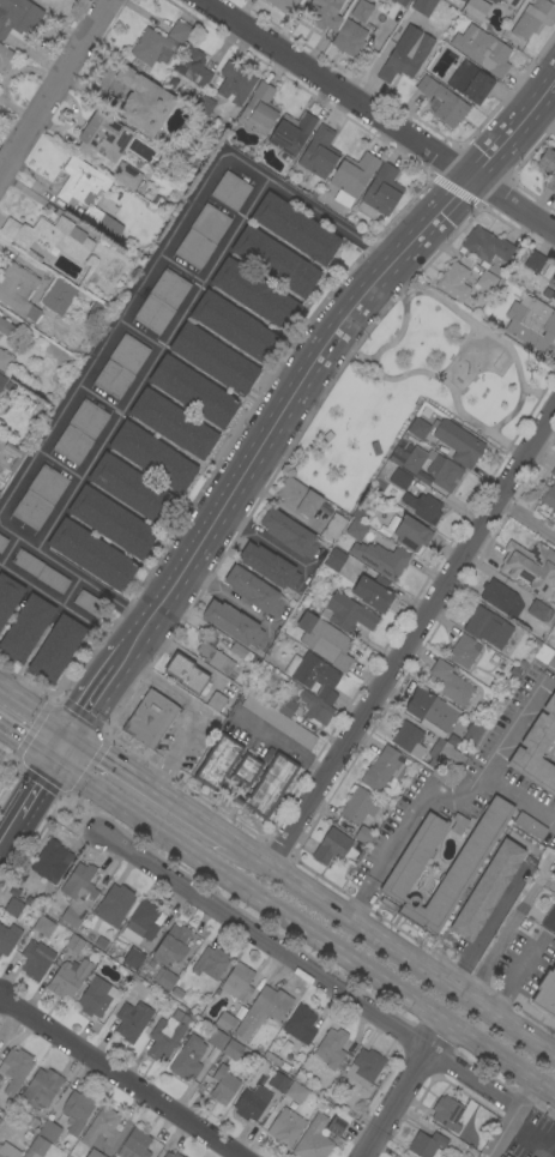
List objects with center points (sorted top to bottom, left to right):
building: (554, 1)
building: (402, 2)
building: (457, 2)
building: (513, 2)
building: (284, 5)
building: (423, 6)
building: (541, 6)
building: (361, 10)
building: (475, 10)
building: (325, 12)
building: (18, 17)
building: (524, 25)
building: (349, 38)
building: (159, 43)
building: (482, 49)
building: (405, 56)
building: (5, 58)
building: (193, 67)
building: (470, 82)
building: (235, 84)
road: (55, 88)
building: (143, 102)
building: (442, 102)
building: (205, 106)
building: (259, 109)
road: (380, 115)
building: (291, 132)
building: (103, 137)
building: (319, 152)
building: (188, 157)
building: (547, 169)
building: (126, 175)
building: (351, 176)
building: (230, 191)
building: (84, 192)
building: (380, 192)
building: (295, 228)
building: (48, 237)
building: (201, 237)
building: (485, 246)
building: (275, 260)
building: (535, 261)
building: (553, 276)
building: (485, 281)
building: (453, 282)
building: (18, 290)
building: (254, 294)
building: (553, 294)
building: (58, 295)
building: (161, 301)
building: (98, 314)
building: (531, 323)
building: (234, 326)
road: (114, 327)
building: (6, 329)
road: (399, 331)
road: (457, 352)
road: (316, 355)
building: (215, 360)
building: (5, 361)
road: (150, 362)
building: (121, 367)
building: (2, 380)
building: (192, 391)
park: (412, 391)
road: (511, 412)
building: (173, 423)
building: (418, 428)
building: (79, 432)
building: (325, 436)
building: (458, 442)
building: (374, 447)
building: (152, 457)
building: (397, 457)
building: (433, 468)
building: (553, 471)
building: (422, 477)
building: (399, 478)
building: (132, 489)
building: (40, 496)
building: (549, 496)
building: (298, 498)
building: (423, 507)
building: (111, 522)
road: (526, 522)
building: (333, 528)
building: (356, 530)
building: (289, 532)
building: (410, 534)
building: (2, 542)
building: (92, 555)
building: (380, 559)
building: (334, 560)
building: (530, 565)
building: (269, 566)
building: (40, 571)
building: (253, 590)
building: (373, 592)
building: (8, 596)
building: (501, 598)
building: (89, 603)
building: (539, 611)
building: (346, 613)
building: (233, 623)
building: (488, 627)
building: (25, 628)
road: (412, 637)
building: (324, 640)
building: (56, 649)
building: (545, 650)
building: (463, 651)
building: (241, 653)
building: (215, 658)
building: (186, 673)
building: (313, 675)
building: (451, 683)
road: (92, 700)
building: (216, 701)
building: (286, 704)
building: (315, 707)
building: (430, 709)
road: (34, 711)
building: (150, 718)
road: (514, 719)
building: (278, 721)
building: (473, 733)
building: (406, 737)
road: (25, 745)
road: (283, 746)
road: (59, 748)
building: (537, 748)
building: (446, 754)
building: (217, 763)
building: (384, 769)
building: (263, 782)
road: (34, 789)
road: (156, 793)
road: (518, 794)
building: (358, 806)
road: (406, 824)
building: (458, 824)
building: (530, 825)
road: (8, 830)
building: (366, 833)
building: (331, 846)
building: (50, 861)
building: (402, 874)
road: (548, 879)
building: (485, 890)
building: (77, 894)
building: (114, 905)
building: (13, 908)
building: (549, 918)
building: (143, 922)
building: (42, 926)
road: (507, 927)
road: (302, 929)
building: (8, 938)
building: (73, 942)
building: (101, 944)
building: (171, 946)
road: (400, 952)
building: (132, 958)
building: (35, 959)
building: (210, 962)
road: (308, 968)
building: (68, 977)
road: (512, 977)
building: (163, 978)
building: (237, 982)
building: (545, 993)
building: (93, 998)
building: (261, 1011)
building: (132, 1020)
building: (225, 1022)
building: (300, 1024)
building: (163, 1037)
building: (217, 1040)
building: (231, 1049)
building: (332, 1049)
building: (187, 1059)
building: (364, 1067)
building: (14, 1068)
road: (120, 1077)
building: (278, 1081)
building: (223, 1084)
building: (38, 1089)
road: (405, 1090)
building: (295, 1091)
building: (251, 1103)
building: (77, 1110)
building: (447, 1113)
road: (511, 1119)
building: (336, 1126)
building: (102, 1127)
building: (285, 1127)
building: (48, 1131)
road: (531, 1134)
building: (313, 1139)
building: (134, 1144)
building: (426, 1144)
building: (38, 1145)
building: (7, 1151)
building: (93, 1153)
building: (170, 1155)
building: (501, 1156)
building: (506, 1156)

